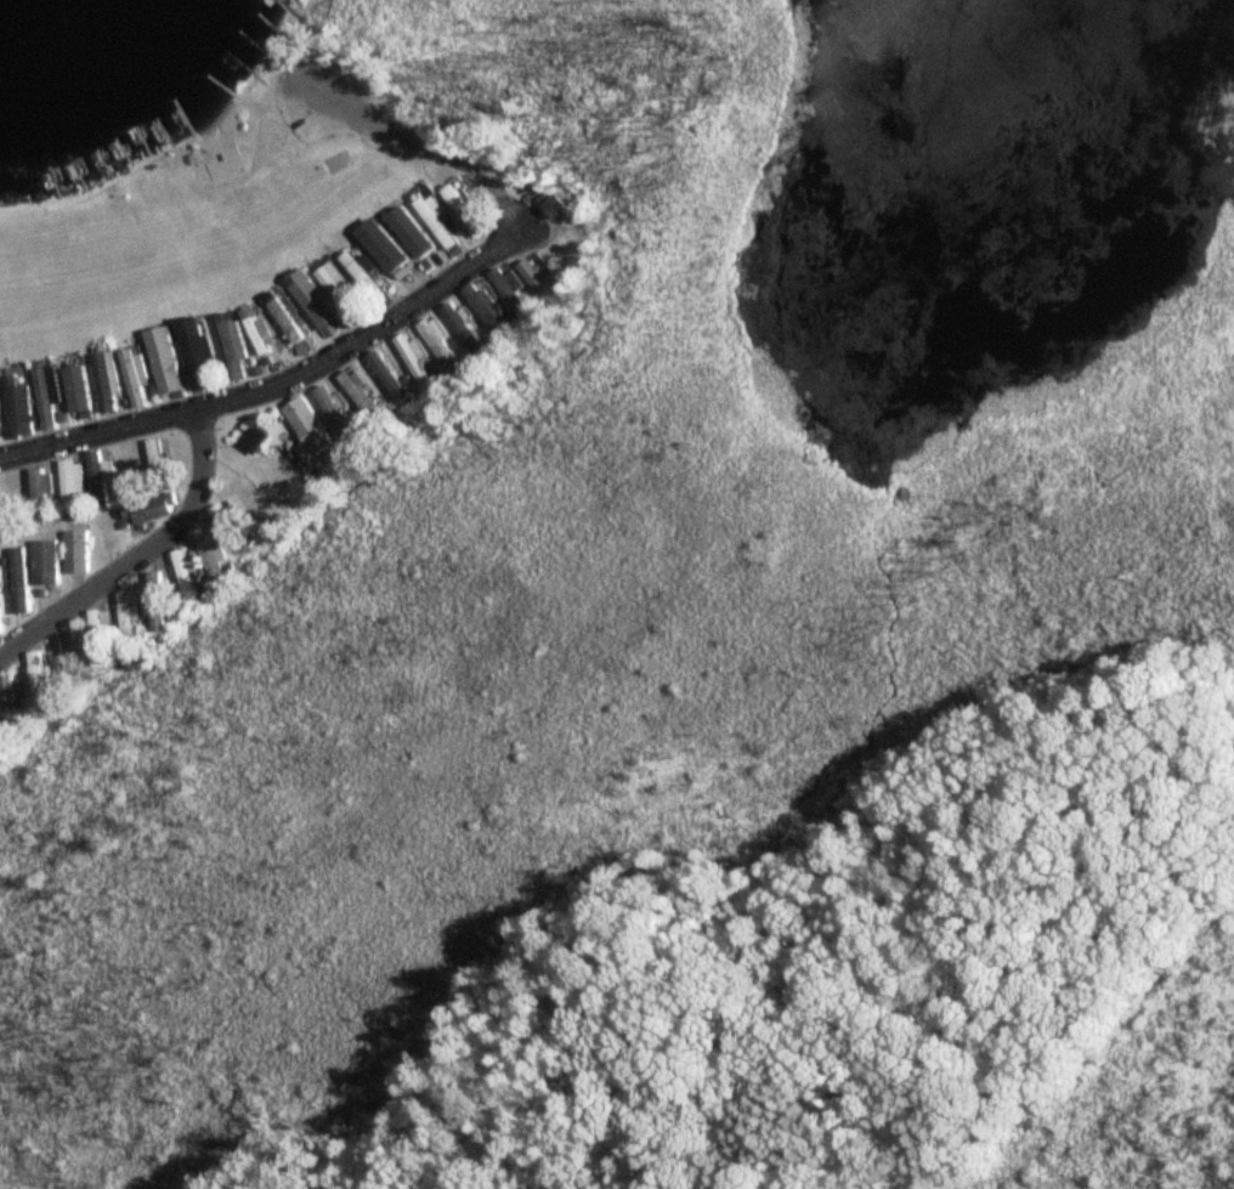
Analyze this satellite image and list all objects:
road: (402, 128)
building: (556, 208)
building: (463, 211)
building: (435, 223)
building: (411, 242)
building: (384, 250)
building: (361, 276)
building: (542, 285)
building: (335, 290)
building: (310, 300)
building: (485, 307)
building: (283, 317)
building: (257, 334)
building: (436, 340)
building: (192, 350)
building: (232, 350)
building: (162, 361)
building: (131, 378)
building: (104, 381)
road: (279, 381)
building: (355, 391)
building: (75, 393)
building: (46, 398)
building: (16, 407)
building: (332, 412)
building: (306, 426)
building: (251, 438)
building: (153, 464)
building: (128, 470)
building: (96, 480)
building: (69, 482)
building: (39, 493)
building: (9, 500)
building: (248, 503)
building: (145, 511)
building: (228, 526)
building: (208, 550)
building: (74, 553)
road: (140, 555)
building: (186, 579)
building: (18, 581)
building: (128, 618)
building: (96, 639)
building: (39, 680)
building: (9, 706)

